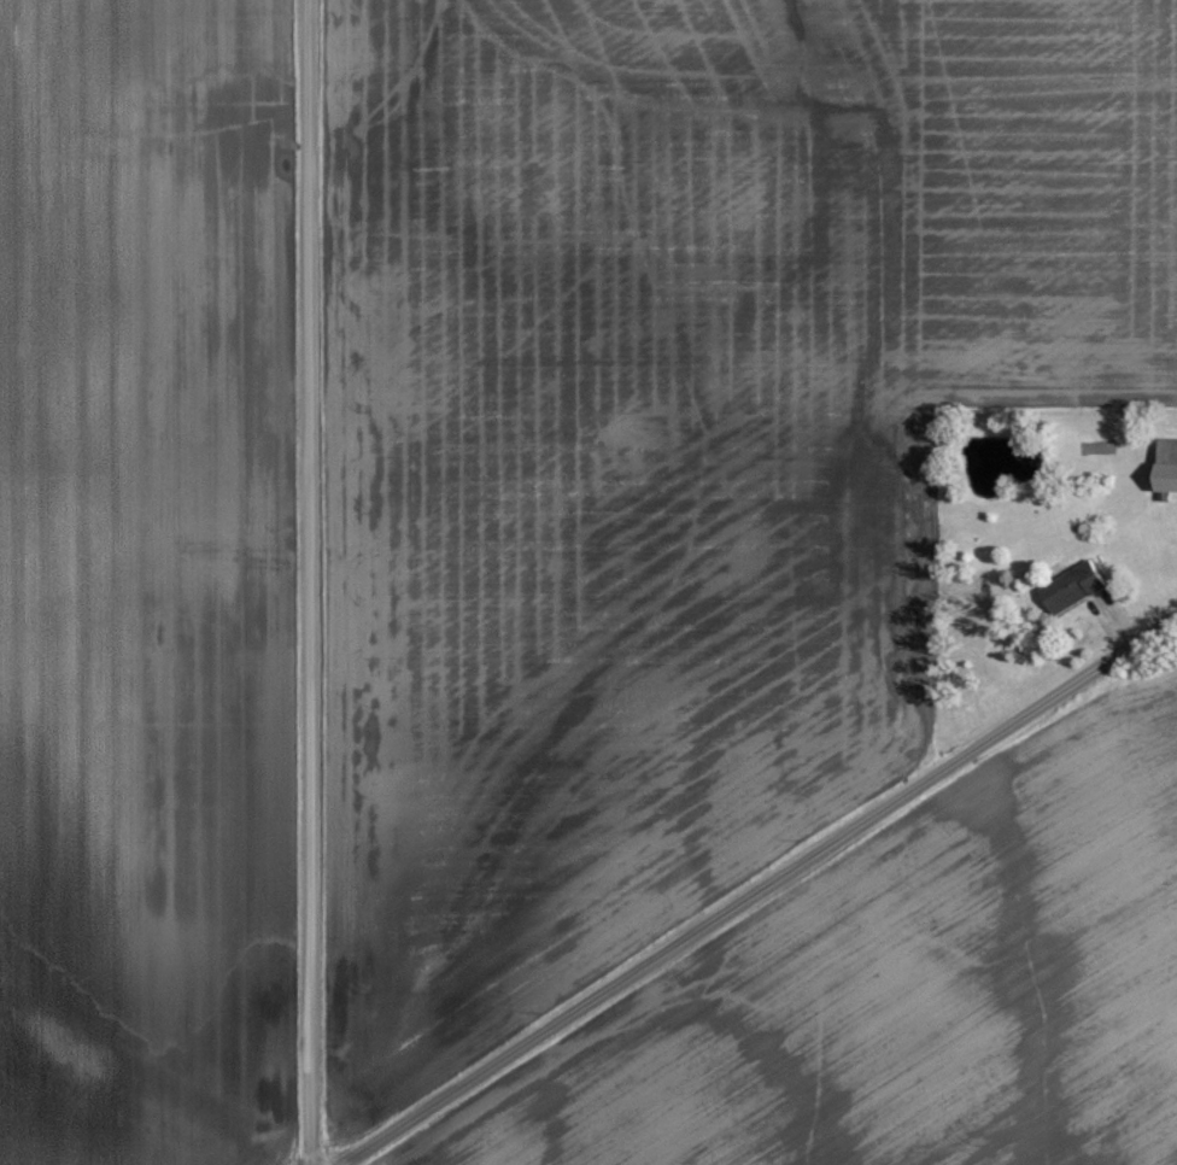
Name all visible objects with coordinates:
building: (1164, 462)
road: (308, 581)
building: (1067, 584)
road: (756, 886)

